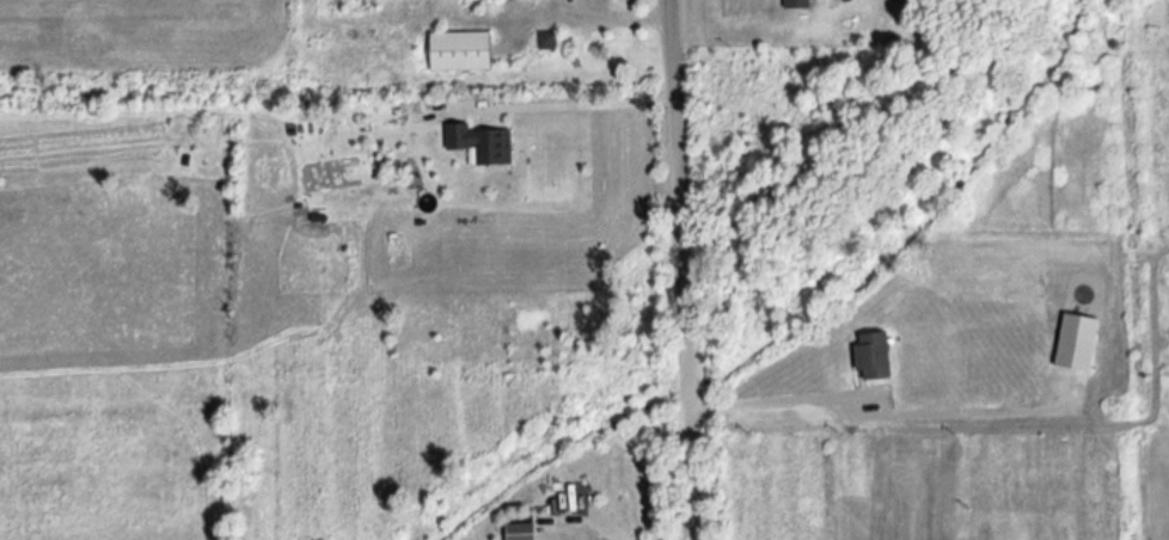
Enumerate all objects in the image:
building: (791, 4)
building: (454, 51)
road: (579, 100)
building: (479, 143)
road: (679, 269)
building: (1071, 340)
building: (867, 356)
road: (766, 399)
road: (588, 521)
building: (514, 530)

